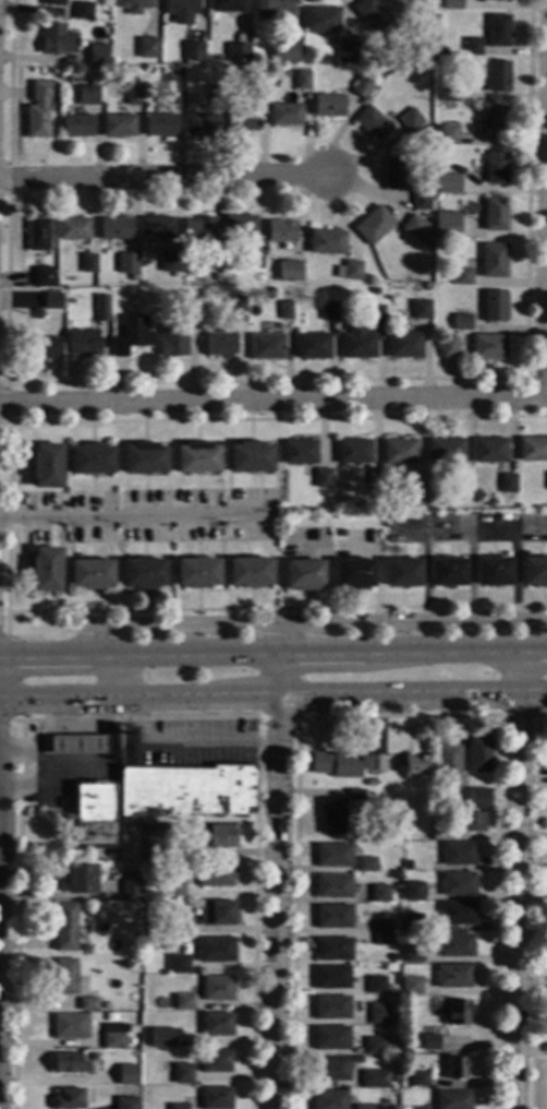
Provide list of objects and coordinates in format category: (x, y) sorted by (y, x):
building: (507, 0)
building: (422, 1)
building: (52, 2)
building: (452, 4)
building: (134, 5)
building: (227, 5)
building: (272, 8)
building: (82, 10)
building: (180, 10)
building: (370, 14)
building: (320, 19)
building: (409, 26)
building: (498, 31)
building: (56, 39)
building: (472, 46)
building: (147, 47)
building: (253, 49)
building: (192, 50)
building: (349, 51)
building: (441, 51)
building: (238, 52)
building: (284, 52)
building: (96, 53)
building: (51, 71)
building: (498, 76)
building: (301, 79)
building: (361, 86)
building: (256, 90)
building: (86, 94)
building: (132, 94)
building: (216, 94)
building: (449, 94)
building: (174, 95)
building: (327, 105)
building: (37, 109)
building: (284, 114)
building: (242, 119)
building: (410, 120)
building: (497, 121)
building: (200, 123)
building: (373, 123)
building: (75, 124)
building: (159, 124)
building: (118, 126)
building: (448, 135)
building: (496, 167)
building: (394, 172)
road: (165, 176)
building: (448, 184)
building: (421, 202)
building: (495, 214)
building: (446, 224)
building: (373, 225)
building: (240, 226)
building: (414, 226)
building: (156, 227)
building: (72, 228)
building: (114, 228)
building: (469, 229)
building: (198, 230)
building: (280, 230)
building: (428, 231)
building: (36, 234)
building: (326, 241)
building: (254, 258)
building: (493, 260)
building: (168, 261)
building: (214, 261)
building: (87, 262)
building: (126, 262)
building: (349, 270)
building: (292, 271)
building: (462, 275)
building: (41, 276)
building: (130, 277)
building: (374, 290)
building: (285, 293)
building: (51, 300)
building: (494, 306)
building: (100, 307)
building: (189, 308)
building: (238, 308)
building: (421, 309)
building: (281, 310)
building: (328, 310)
building: (35, 313)
building: (376, 314)
building: (461, 321)
building: (131, 334)
building: (172, 341)
building: (356, 342)
building: (82, 343)
building: (219, 344)
building: (403, 344)
building: (312, 345)
road: (546, 345)
building: (266, 346)
building: (447, 346)
building: (44, 347)
building: (487, 347)
road: (272, 398)
building: (532, 448)
building: (445, 450)
building: (490, 450)
building: (299, 451)
building: (353, 451)
building: (399, 451)
building: (250, 456)
building: (143, 457)
building: (196, 457)
building: (90, 458)
building: (46, 465)
building: (321, 477)
building: (372, 480)
building: (507, 482)
building: (460, 488)
building: (416, 494)
building: (95, 501)
road: (136, 516)
building: (382, 521)
road: (473, 526)
building: (341, 532)
building: (287, 534)
building: (45, 569)
building: (447, 571)
building: (493, 571)
building: (534, 571)
building: (196, 572)
building: (250, 572)
building: (402, 572)
building: (90, 573)
building: (143, 573)
building: (353, 573)
building: (303, 574)
road: (311, 624)
road: (272, 648)
road: (114, 673)
road: (272, 696)
road: (81, 727)
road: (44, 732)
building: (78, 744)
building: (478, 754)
building: (374, 762)
building: (449, 763)
road: (39, 765)
building: (337, 765)
building: (415, 765)
building: (372, 784)
building: (186, 791)
building: (356, 795)
building: (478, 801)
building: (94, 815)
building: (331, 816)
building: (472, 822)
building: (146, 827)
building: (440, 830)
building: (217, 836)
building: (168, 842)
building: (110, 852)
building: (458, 854)
building: (333, 856)
building: (366, 864)
building: (405, 866)
building: (215, 874)
road: (515, 877)
building: (80, 879)
road: (272, 879)
building: (457, 883)
building: (131, 884)
building: (398, 886)
building: (332, 887)
building: (173, 890)
building: (413, 892)
building: (380, 894)
road: (535, 907)
building: (217, 913)
building: (457, 913)
building: (332, 916)
building: (411, 922)
building: (382, 925)
building: (180, 926)
building: (65, 927)
building: (144, 932)
building: (382, 939)
building: (454, 945)
building: (85, 946)
building: (216, 950)
building: (333, 950)
building: (413, 955)
building: (178, 964)
building: (453, 976)
building: (65, 977)
building: (331, 977)
building: (376, 985)
building: (411, 986)
building: (217, 988)
building: (183, 1003)
building: (88, 1004)
building: (331, 1007)
building: (459, 1013)
building: (379, 1014)
building: (192, 1015)
building: (186, 1022)
building: (217, 1024)
building: (70, 1026)
building: (113, 1036)
building: (161, 1037)
building: (330, 1038)
building: (429, 1042)
building: (374, 1046)
building: (404, 1050)
building: (356, 1060)
building: (216, 1061)
building: (70, 1063)
building: (458, 1068)
building: (330, 1070)
building: (182, 1074)
building: (124, 1076)
building: (375, 1080)
building: (420, 1080)
building: (403, 1082)
building: (69, 1098)
building: (216, 1098)
building: (453, 1099)
building: (329, 1100)
building: (126, 1102)
building: (179, 1107)
building: (365, 1107)
building: (415, 1108)

